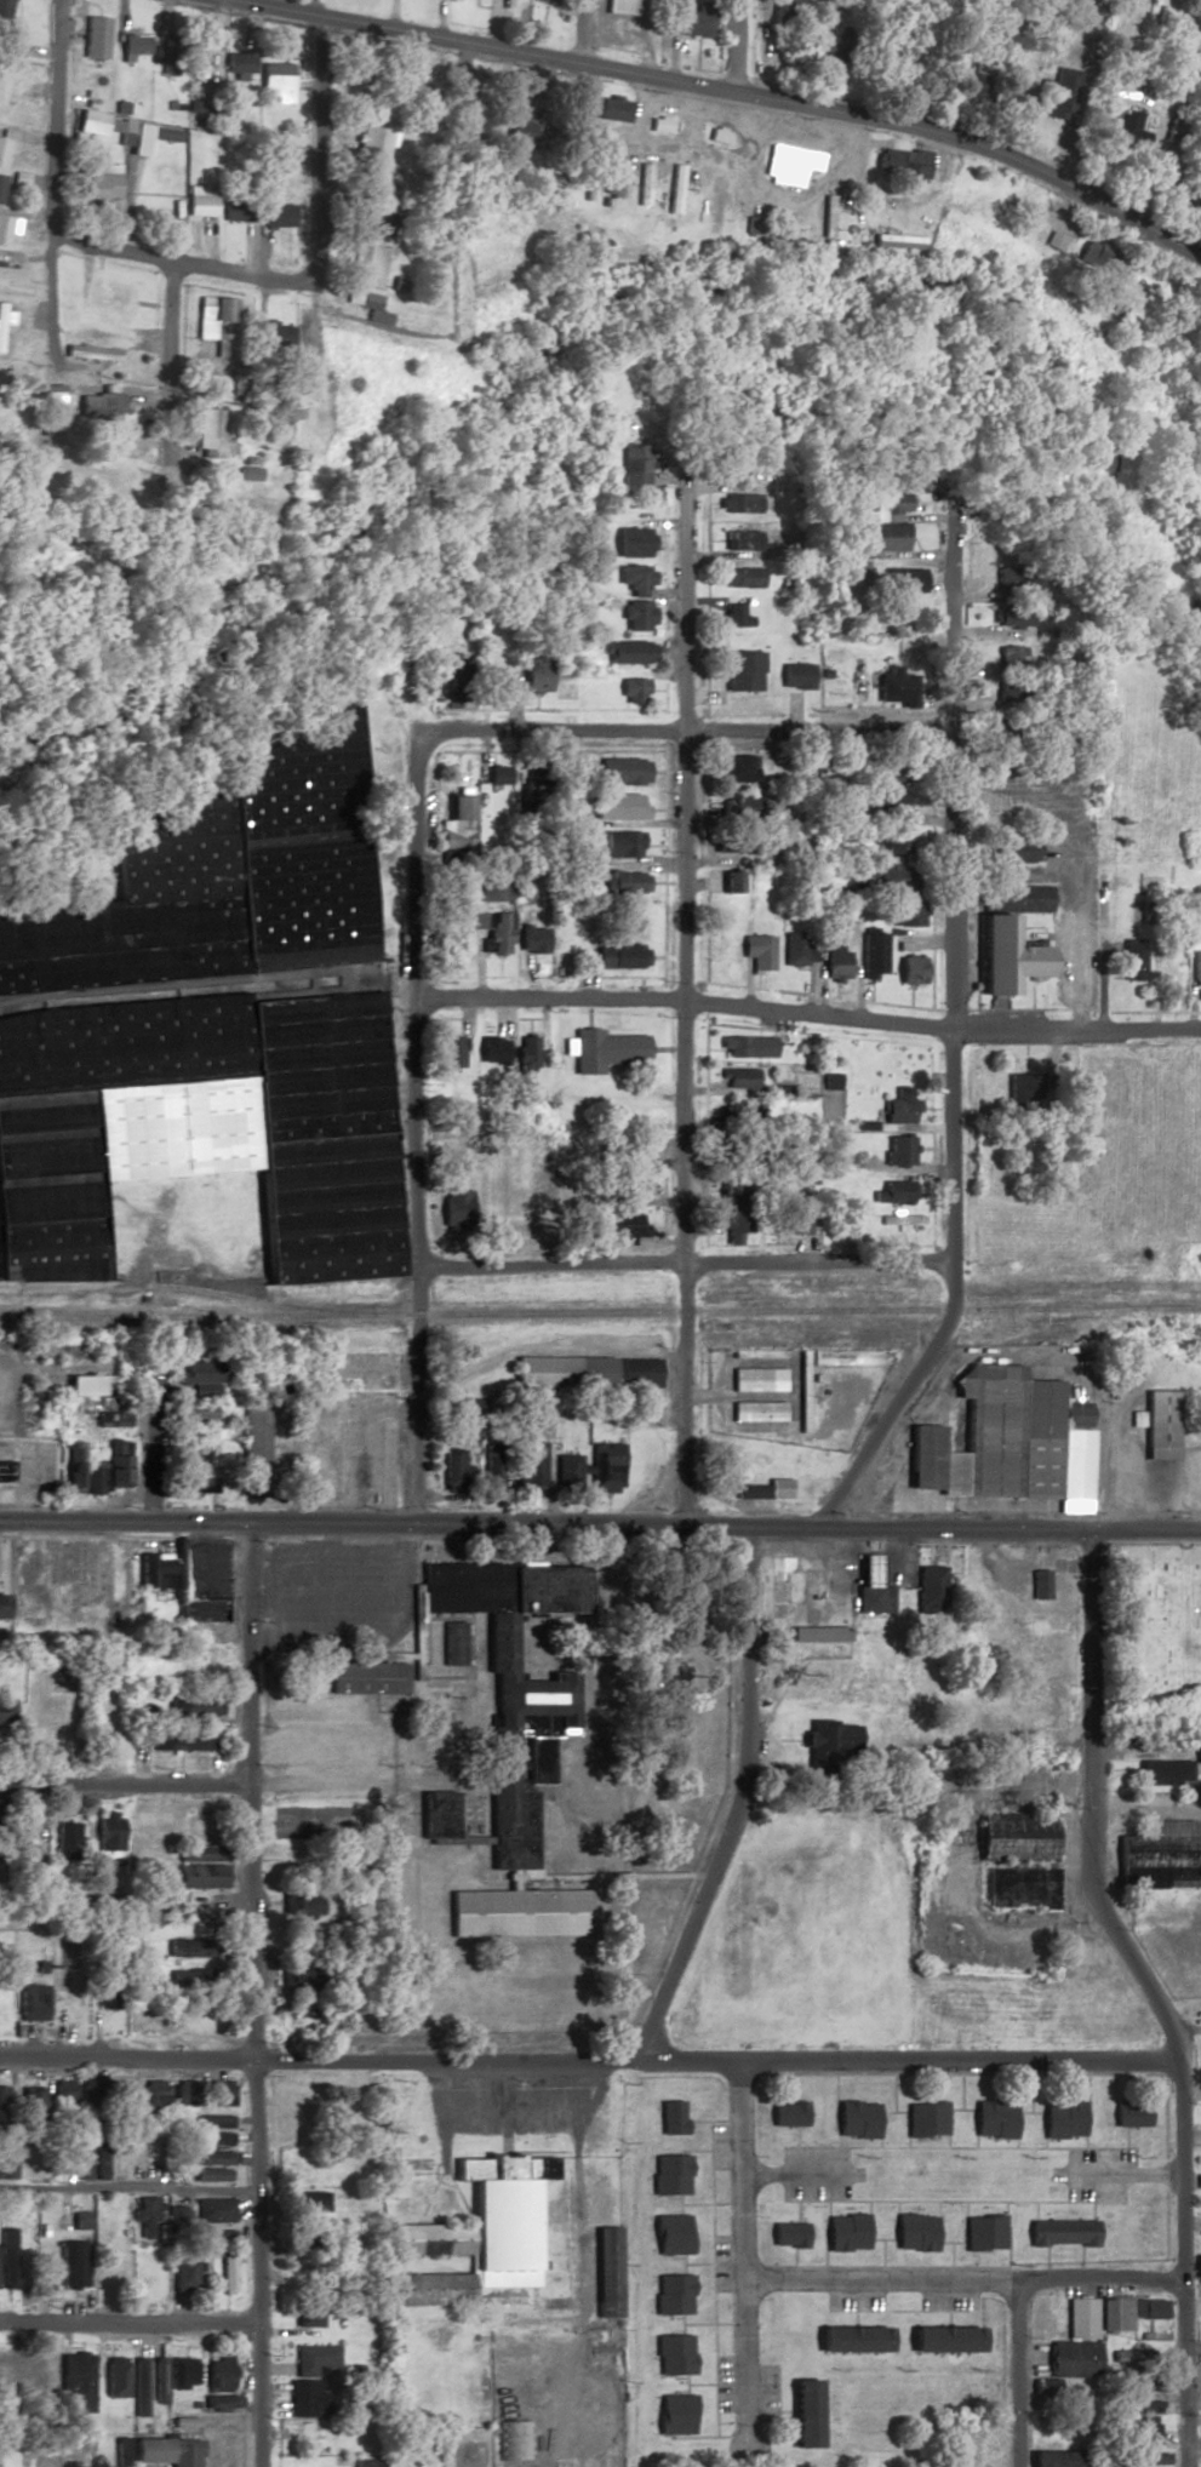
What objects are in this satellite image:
road: (303, 6)
building: (625, 6)
building: (785, 8)
building: (4, 15)
building: (691, 21)
road: (579, 32)
building: (96, 36)
building: (837, 44)
building: (135, 45)
road: (736, 46)
building: (202, 61)
building: (238, 62)
building: (275, 82)
road: (728, 90)
building: (1057, 95)
building: (612, 109)
road: (47, 115)
building: (525, 127)
building: (118, 131)
building: (1126, 131)
building: (1173, 131)
building: (377, 142)
road: (319, 144)
building: (903, 162)
building: (1, 164)
building: (789, 165)
building: (616, 181)
building: (97, 183)
building: (644, 184)
building: (675, 188)
building: (200, 201)
building: (715, 205)
building: (233, 211)
building: (368, 221)
building: (4, 230)
road: (177, 265)
building: (10, 274)
building: (366, 274)
road: (51, 298)
building: (111, 300)
building: (2, 319)
building: (215, 319)
building: (78, 353)
road: (165, 378)
building: (101, 405)
building: (207, 430)
building: (130, 442)
building: (630, 465)
building: (733, 503)
building: (883, 504)
building: (883, 537)
building: (736, 540)
building: (628, 542)
building: (738, 578)
building: (630, 579)
building: (898, 580)
building: (633, 616)
building: (1012, 616)
building: (730, 617)
building: (624, 652)
building: (739, 671)
road: (503, 672)
building: (530, 674)
building: (791, 676)
building: (892, 687)
building: (454, 691)
building: (629, 691)
road: (699, 731)
building: (733, 768)
building: (618, 771)
building: (494, 775)
building: (886, 775)
building: (882, 805)
building: (616, 807)
building: (453, 818)
building: (891, 842)
building: (617, 845)
building: (1012, 851)
building: (219, 877)
building: (888, 878)
building: (624, 883)
building: (490, 893)
building: (904, 915)
building: (498, 933)
building: (1002, 938)
building: (530, 940)
building: (760, 940)
building: (794, 950)
building: (869, 955)
building: (617, 957)
building: (1125, 960)
building: (831, 961)
building: (1161, 961)
building: (1193, 967)
building: (907, 971)
road: (677, 1007)
road: (805, 1014)
road: (946, 1036)
building: (743, 1048)
building: (604, 1051)
building: (491, 1052)
building: (448, 1053)
building: (525, 1058)
building: (737, 1080)
building: (898, 1107)
road: (412, 1115)
building: (200, 1124)
building: (631, 1150)
building: (896, 1151)
building: (731, 1186)
building: (634, 1187)
building: (891, 1192)
building: (789, 1221)
building: (623, 1225)
building: (731, 1229)
road: (680, 1261)
building: (791, 1277)
building: (764, 1283)
building: (862, 1283)
road: (1074, 1288)
railway: (600, 1311)
building: (864, 1338)
railway: (979, 1346)
building: (754, 1353)
building: (840, 1357)
building: (198, 1372)
building: (583, 1373)
building: (755, 1380)
building: (86, 1385)
building: (799, 1390)
road: (6, 1404)
building: (25, 1408)
building: (754, 1410)
building: (191, 1416)
building: (113, 1419)
building: (1151, 1424)
building: (993, 1438)
building: (253, 1450)
building: (116, 1461)
building: (73, 1465)
building: (488, 1465)
building: (527, 1466)
building: (604, 1467)
building: (453, 1469)
building: (193, 1470)
building: (5, 1472)
building: (565, 1472)
building: (92, 1481)
building: (762, 1489)
road: (600, 1524)
road: (194, 1539)
road: (170, 1556)
road: (344, 1568)
building: (150, 1569)
building: (84, 1574)
building: (200, 1579)
building: (922, 1579)
building: (774, 1582)
building: (1036, 1582)
building: (867, 1586)
gas station: (867, 1586)
parking lot: (336, 1597)
building: (1, 1605)
road: (345, 1616)
park: (1151, 1629)
building: (814, 1631)
road: (469, 1639)
building: (451, 1642)
building: (367, 1677)
building: (511, 1683)
building: (195, 1705)
road: (399, 1711)
building: (6, 1715)
building: (829, 1736)
building: (177, 1739)
building: (1196, 1750)
building: (1154, 1771)
road: (212, 1784)
building: (986, 1801)
road: (737, 1803)
building: (434, 1813)
park: (311, 1824)
building: (108, 1830)
road: (617, 1839)
building: (67, 1841)
road: (456, 1841)
building: (200, 1851)
building: (1153, 1855)
building: (200, 1874)
road: (559, 1874)
road: (508, 1879)
building: (1017, 1887)
building: (159, 1900)
building: (301, 1901)
building: (514, 1911)
road: (6, 1918)
building: (188, 1947)
building: (294, 1979)
road: (247, 1994)
road: (1146, 1994)
building: (105, 1996)
building: (30, 2002)
building: (198, 2017)
road: (588, 2061)
road: (956, 2073)
road: (833, 2087)
road: (790, 2088)
road: (957, 2090)
building: (62, 2093)
building: (155, 2093)
building: (187, 2093)
building: (219, 2093)
road: (890, 2093)
building: (120, 2096)
building: (32, 2102)
building: (1, 2103)
road: (955, 2108)
road: (1082, 2111)
road: (888, 2112)
building: (783, 2113)
building: (1127, 2114)
building: (668, 2117)
building: (989, 2118)
building: (852, 2119)
building: (921, 2119)
building: (1059, 2119)
building: (212, 2120)
road: (700, 2120)
road: (1012, 2128)
road: (875, 2134)
road: (793, 2135)
road: (1041, 2137)
road: (1122, 2137)
building: (212, 2139)
road: (903, 2141)
road: (833, 2142)
parking lot: (715, 2145)
road: (908, 2146)
road: (1085, 2148)
road: (690, 2150)
building: (210, 2157)
building: (6, 2159)
building: (99, 2164)
road: (795, 2173)
parking lot: (811, 2173)
parking lot: (1093, 2173)
building: (207, 2174)
road: (1116, 2174)
building: (668, 2175)
road: (153, 2190)
road: (890, 2200)
road: (1034, 2202)
road: (698, 2203)
building: (310, 2205)
road: (676, 2205)
road: (824, 2206)
road: (893, 2208)
building: (212, 2210)
road: (1033, 2210)
road: (1090, 2210)
road: (794, 2211)
building: (143, 2215)
road: (1002, 2215)
building: (475, 2232)
building: (842, 2232)
building: (910, 2232)
building: (979, 2232)
building: (1058, 2232)
building: (668, 2233)
road: (864, 2233)
building: (784, 2234)
road: (820, 2251)
road: (879, 2253)
road: (948, 2254)
road: (1079, 2255)
road: (790, 2256)
road: (1043, 2256)
building: (6, 2257)
road: (738, 2257)
parking lot: (719, 2262)
building: (70, 2263)
building: (115, 2263)
road: (680, 2263)
road: (694, 2263)
road: (898, 2267)
building: (602, 2268)
building: (148, 2269)
building: (42, 2271)
building: (184, 2272)
building: (225, 2273)
road: (959, 2280)
road: (709, 2285)
building: (669, 2294)
parking lot: (944, 2301)
parking lot: (852, 2302)
road: (898, 2311)
building: (1106, 2313)
building: (305, 2316)
road: (852, 2318)
road: (945, 2319)
road: (125, 2322)
road: (700, 2323)
road: (677, 2324)
building: (847, 2337)
building: (942, 2339)
building: (669, 2354)
building: (1131, 2356)
building: (1070, 2358)
building: (313, 2359)
building: (23, 2369)
building: (46, 2372)
building: (181, 2374)
building: (217, 2374)
road: (1016, 2374)
building: (158, 2376)
building: (113, 2379)
building: (75, 2381)
road: (697, 2383)
parking lot: (721, 2383)
road: (682, 2385)
building: (137, 2387)
parking lot: (765, 2398)
building: (305, 2399)
building: (218, 2402)
road: (782, 2411)
building: (801, 2412)
building: (673, 2414)
road: (720, 2423)
building: (296, 2429)
building: (1143, 2435)
road: (694, 2438)
building: (217, 2439)
building: (145, 2451)
building: (181, 2454)
building: (1063, 2459)

